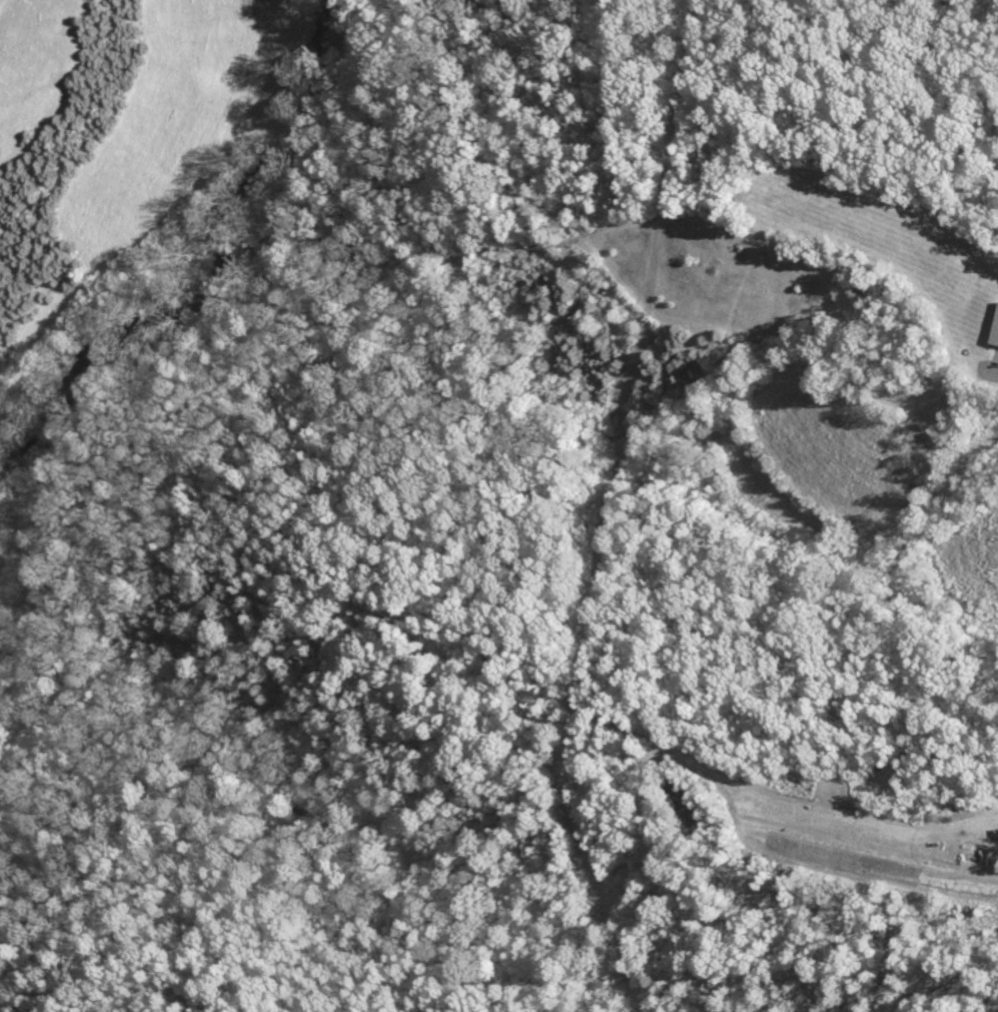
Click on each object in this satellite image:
building: (995, 335)

